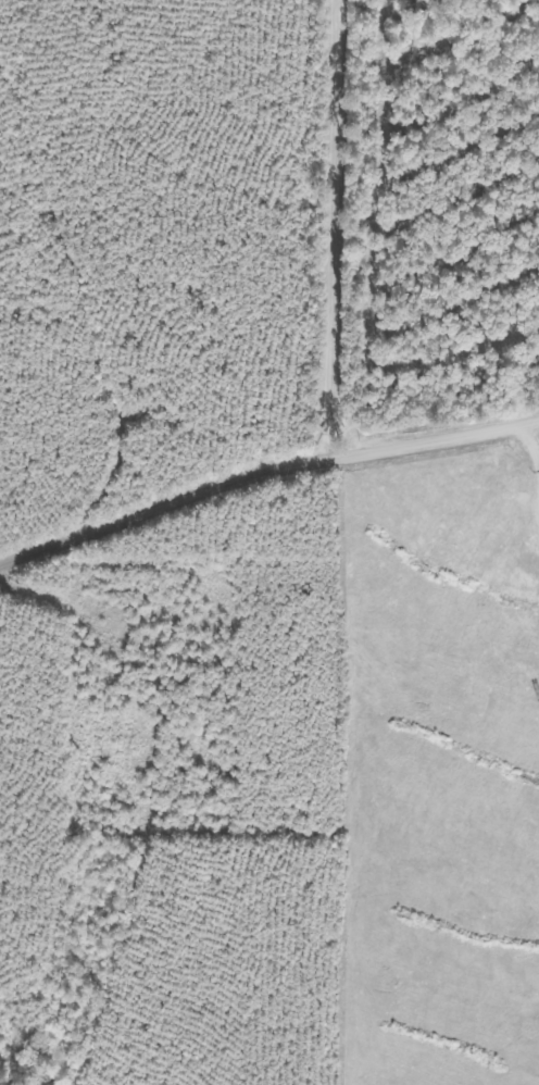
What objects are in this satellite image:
road: (266, 478)

